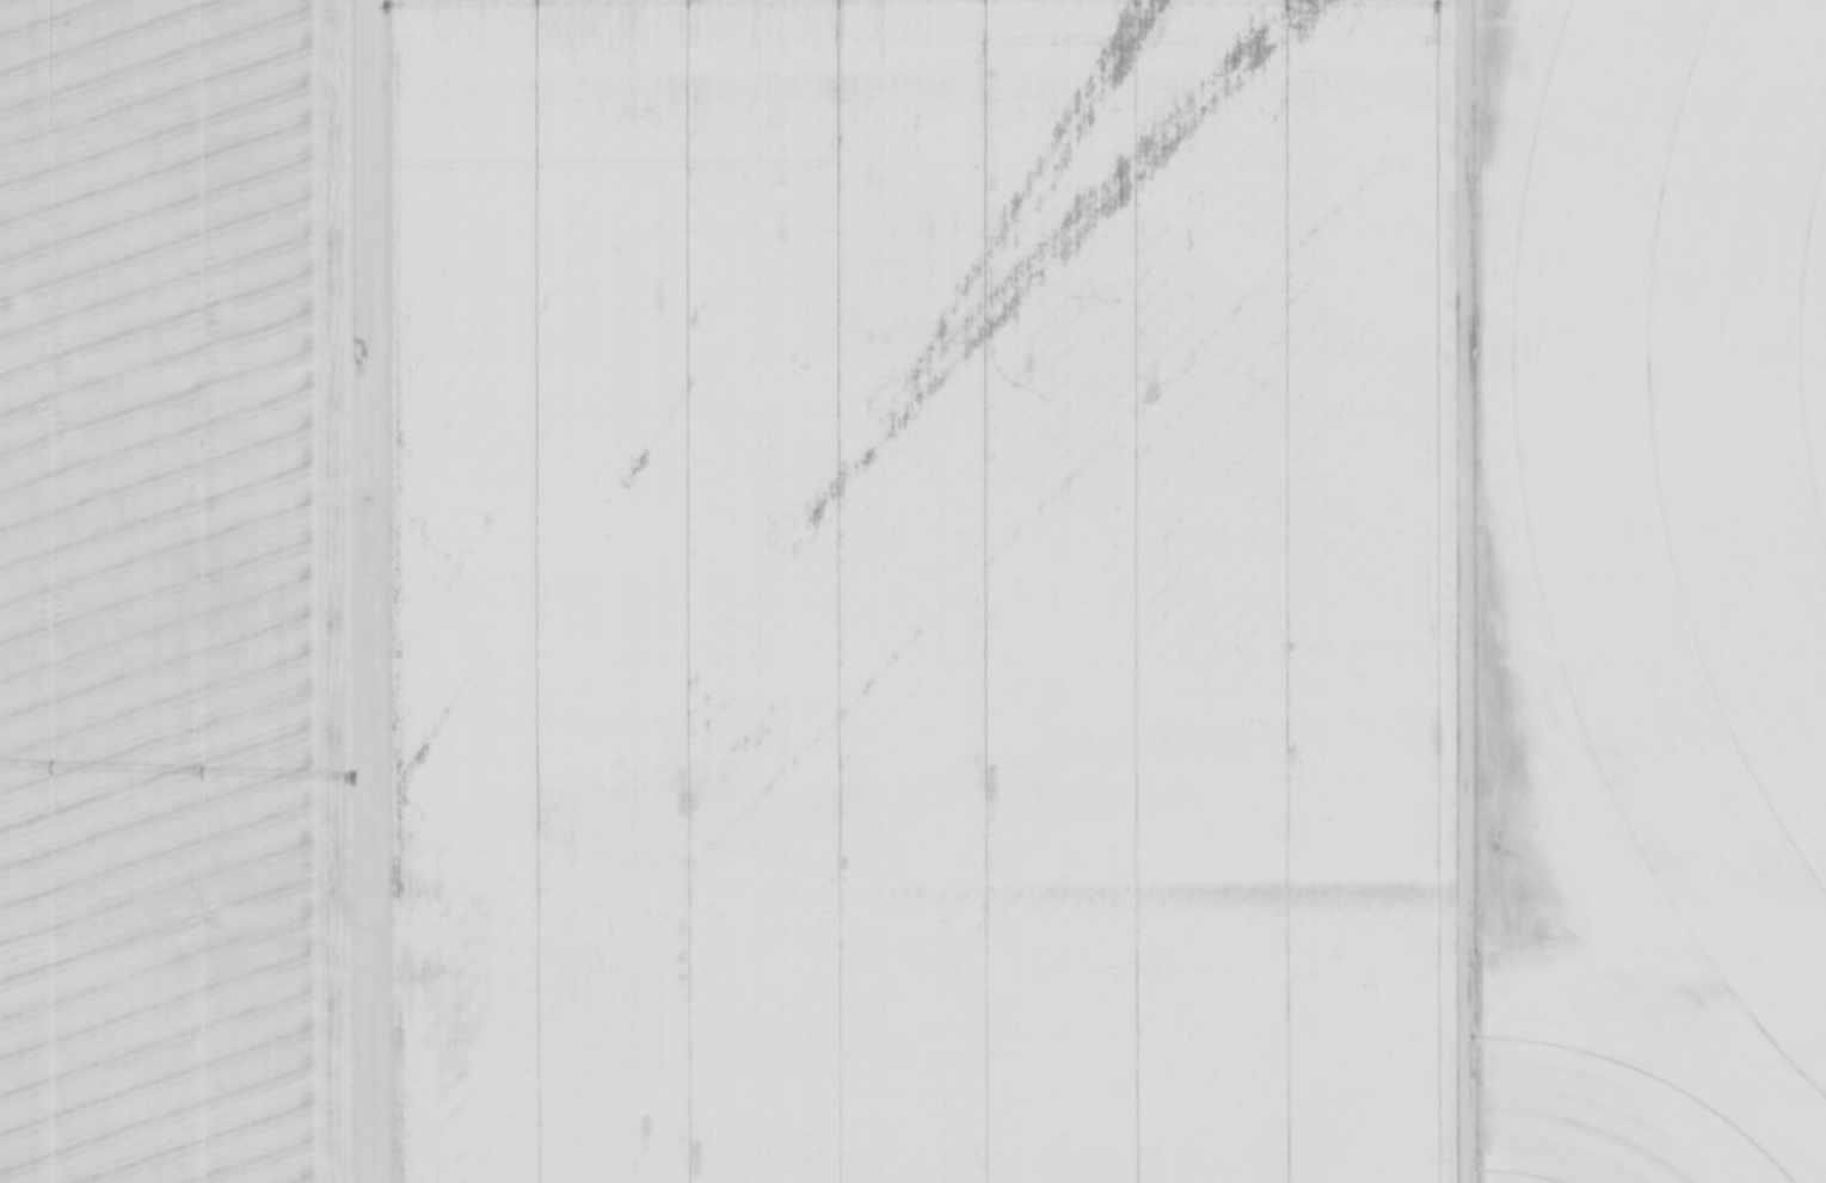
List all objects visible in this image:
road: (348, 591)
road: (371, 591)
road: (1455, 591)

